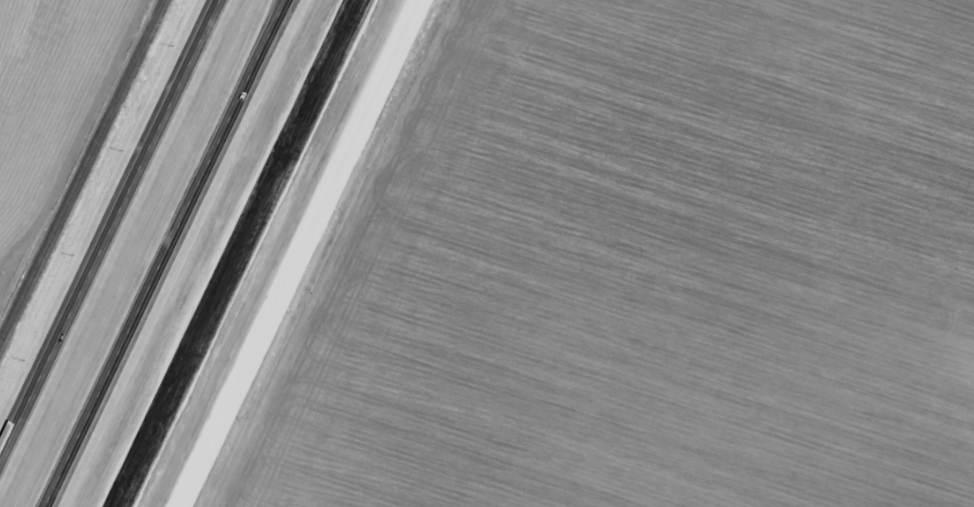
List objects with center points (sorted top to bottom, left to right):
railway: (82, 173)
road: (112, 234)
road: (164, 253)
road: (233, 253)
road: (298, 253)

